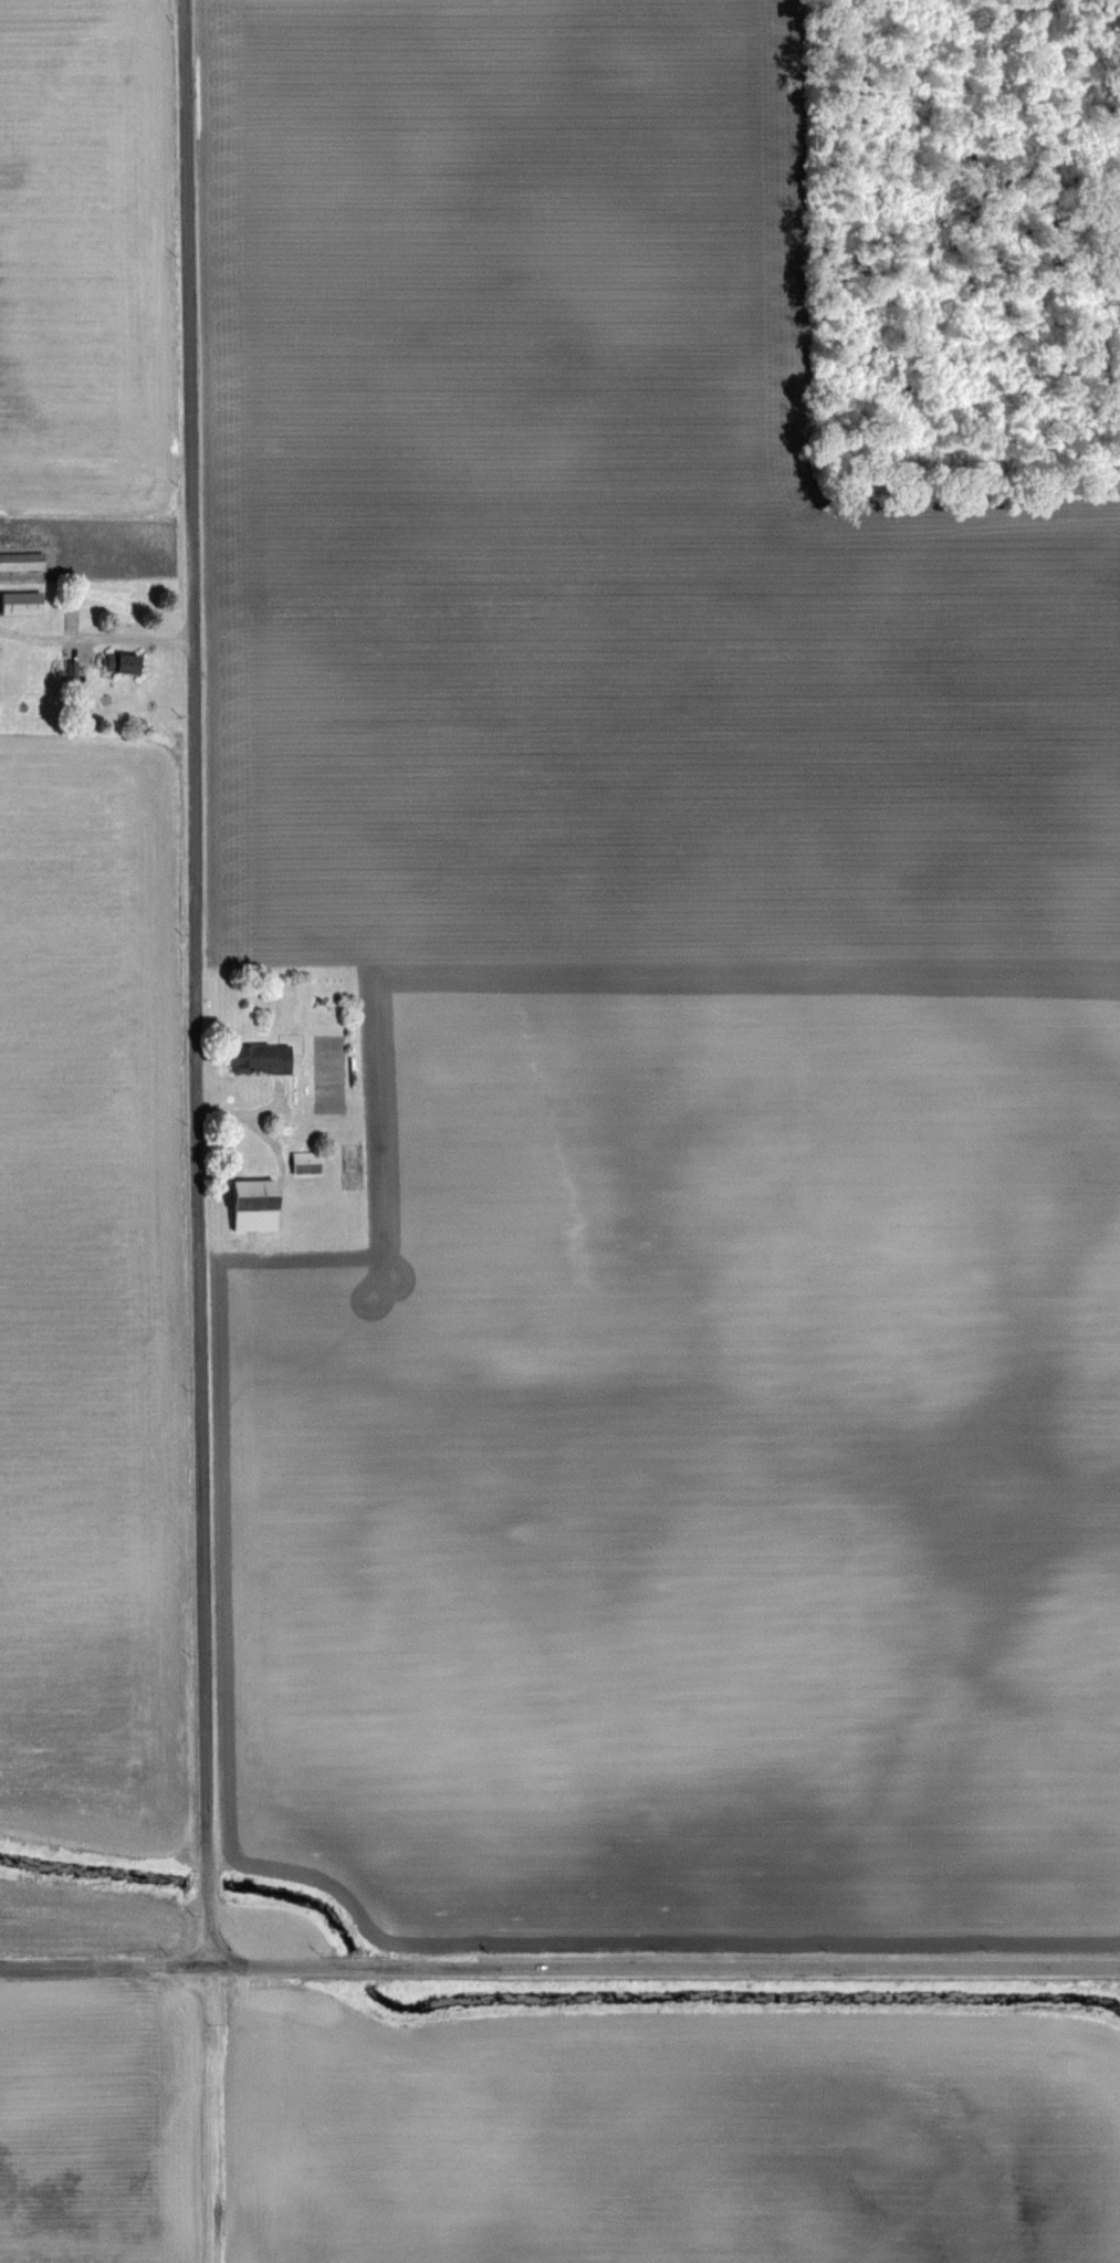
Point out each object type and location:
building: (22, 562)
building: (21, 604)
building: (122, 664)
road: (197, 984)
building: (259, 1058)
building: (307, 1162)
building: (253, 1204)
road: (559, 1970)

